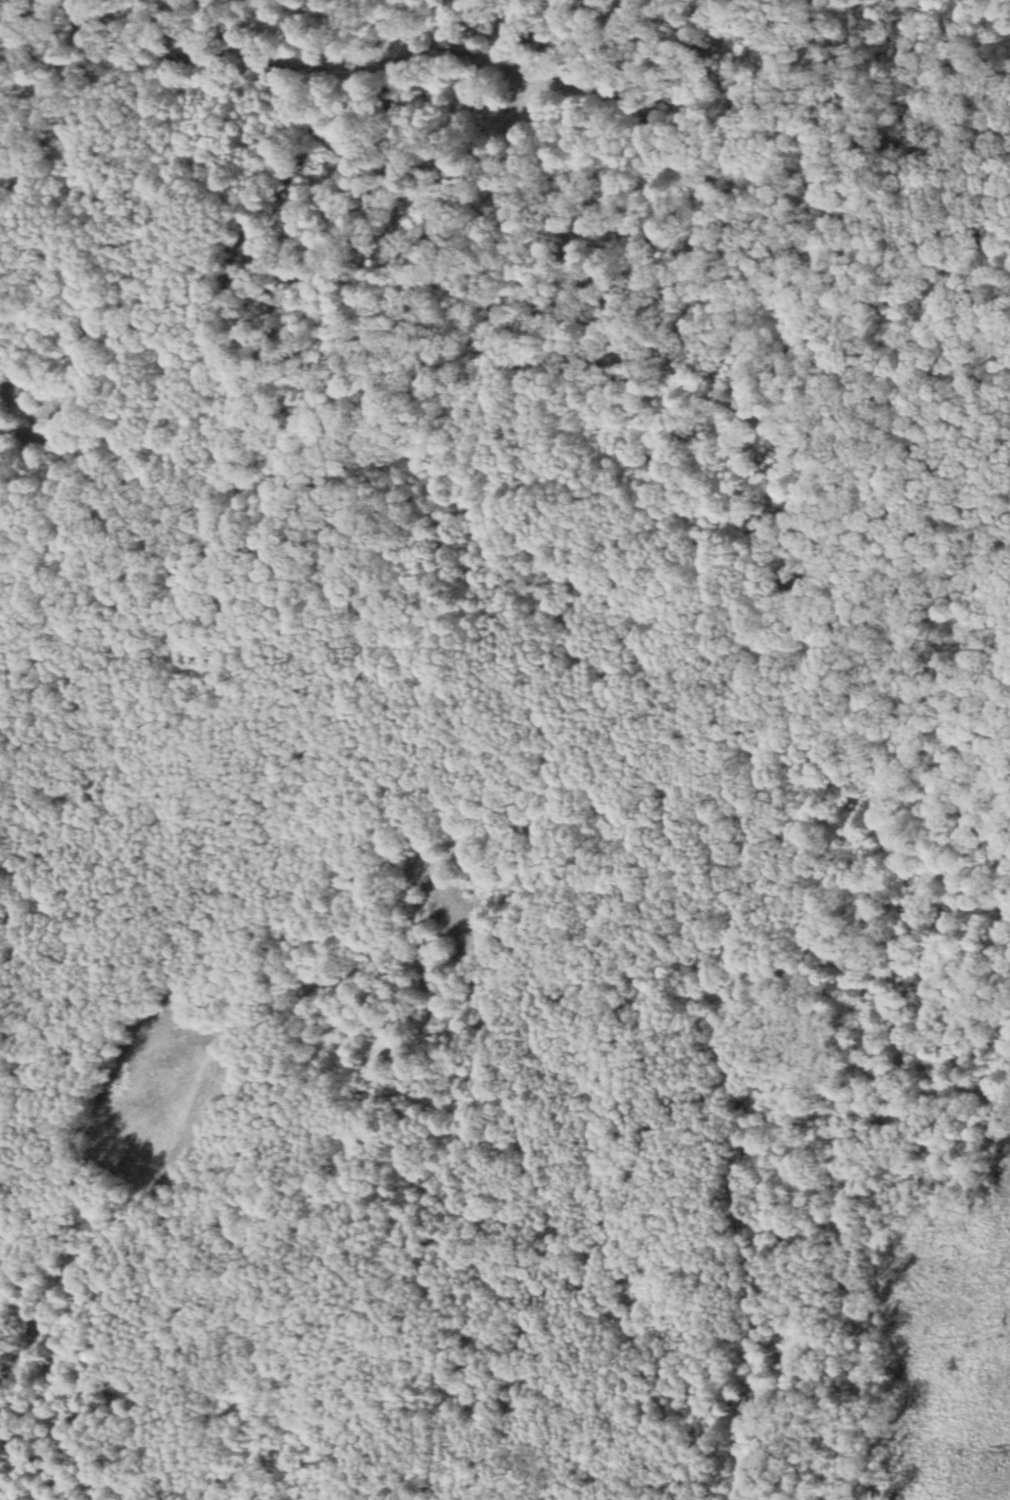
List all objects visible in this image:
road: (442, 746)

